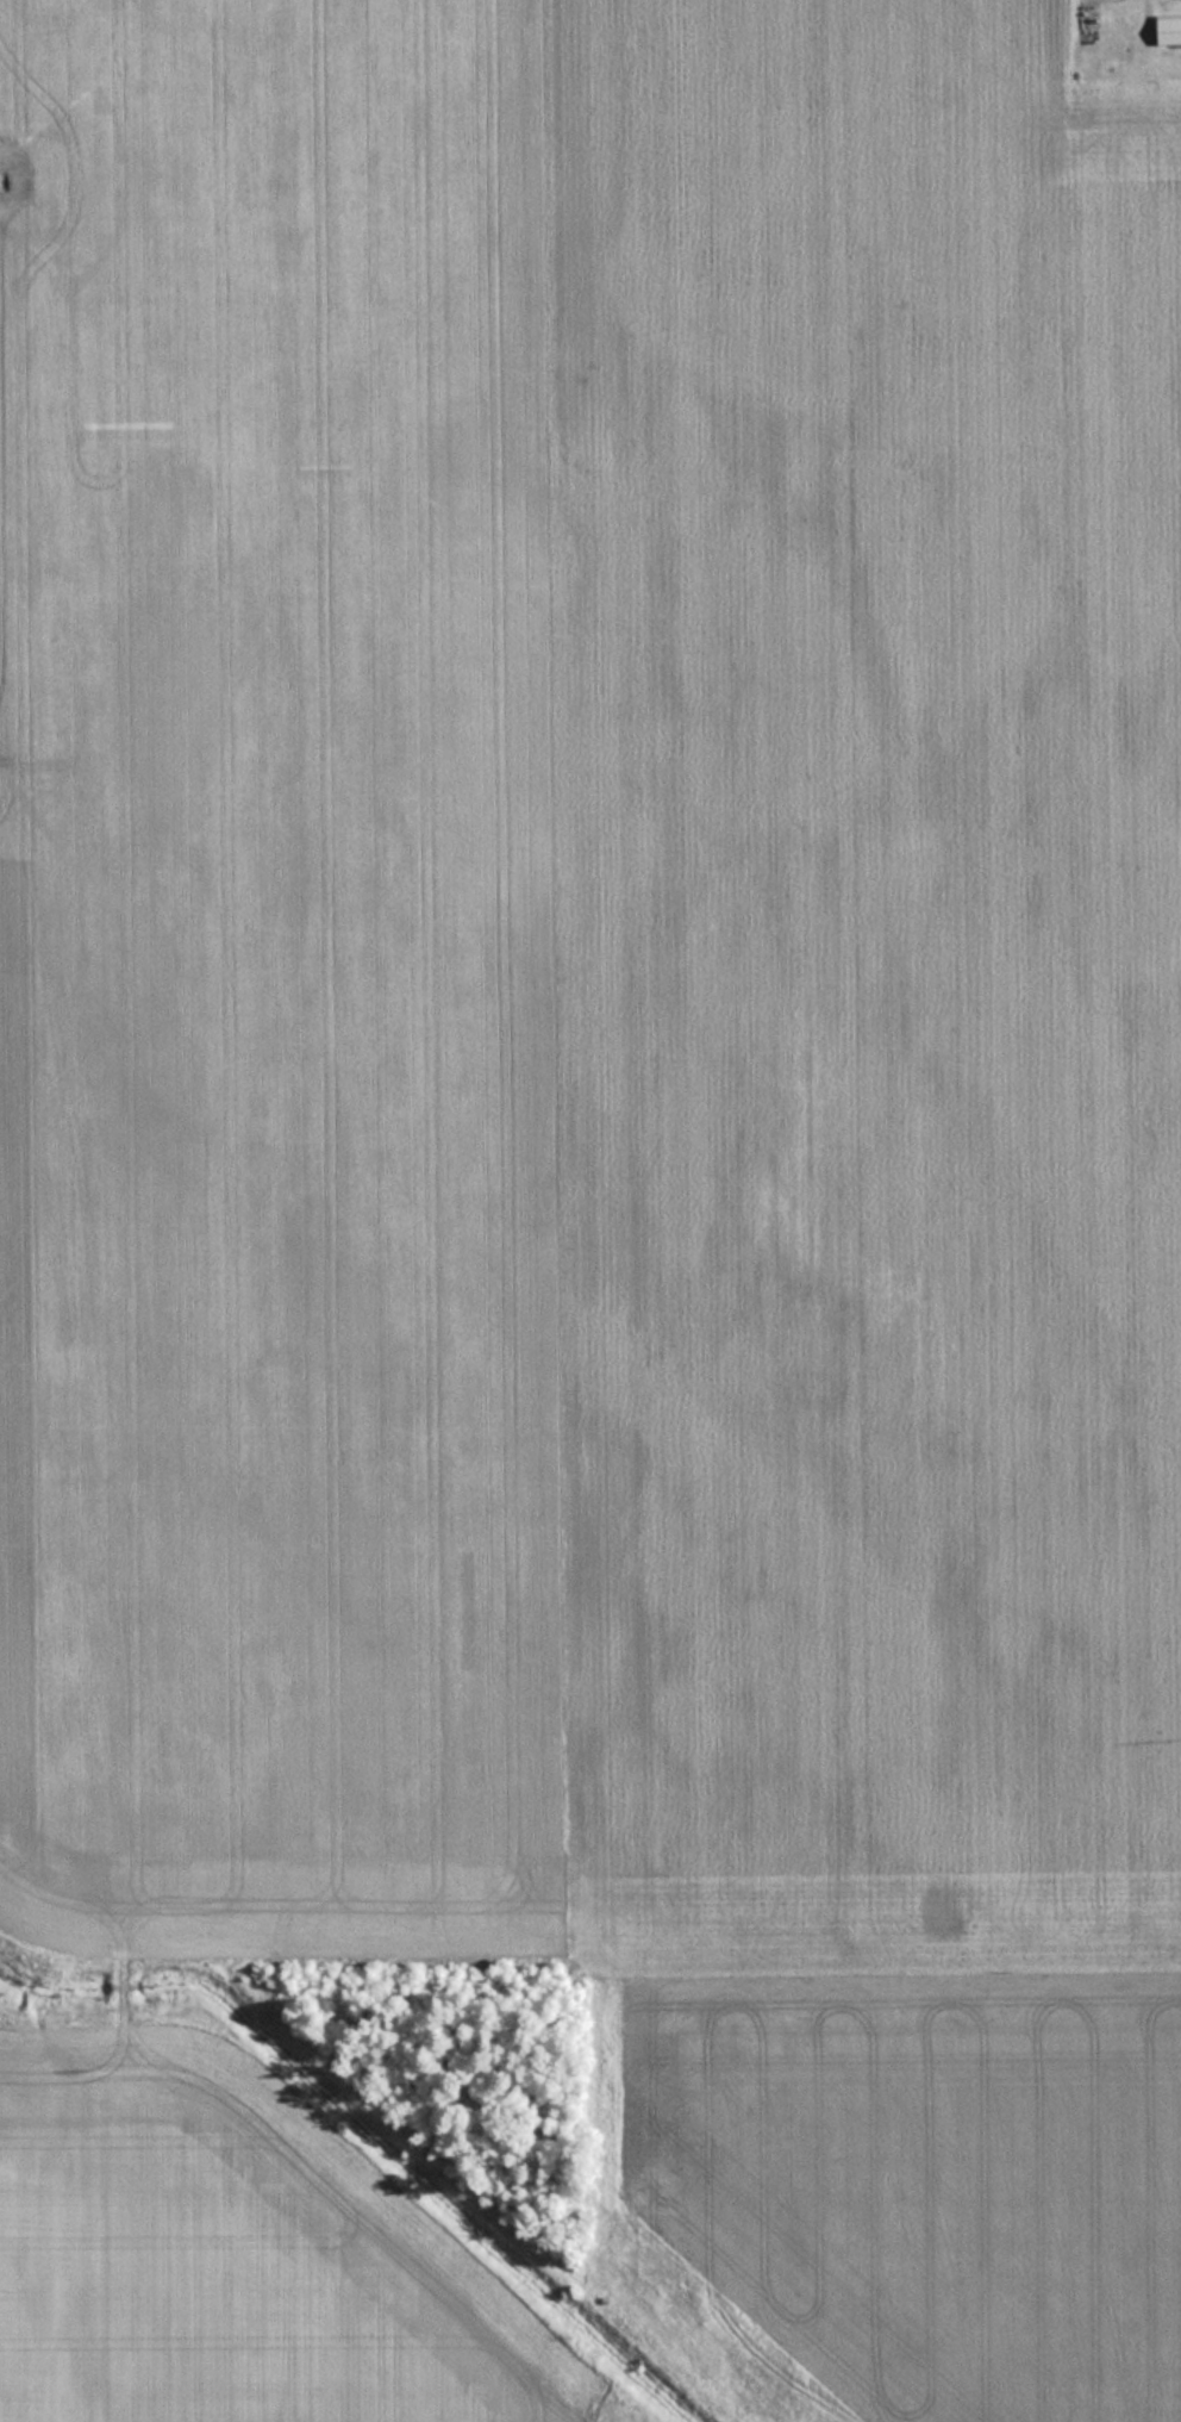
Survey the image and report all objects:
building: (1168, 30)

